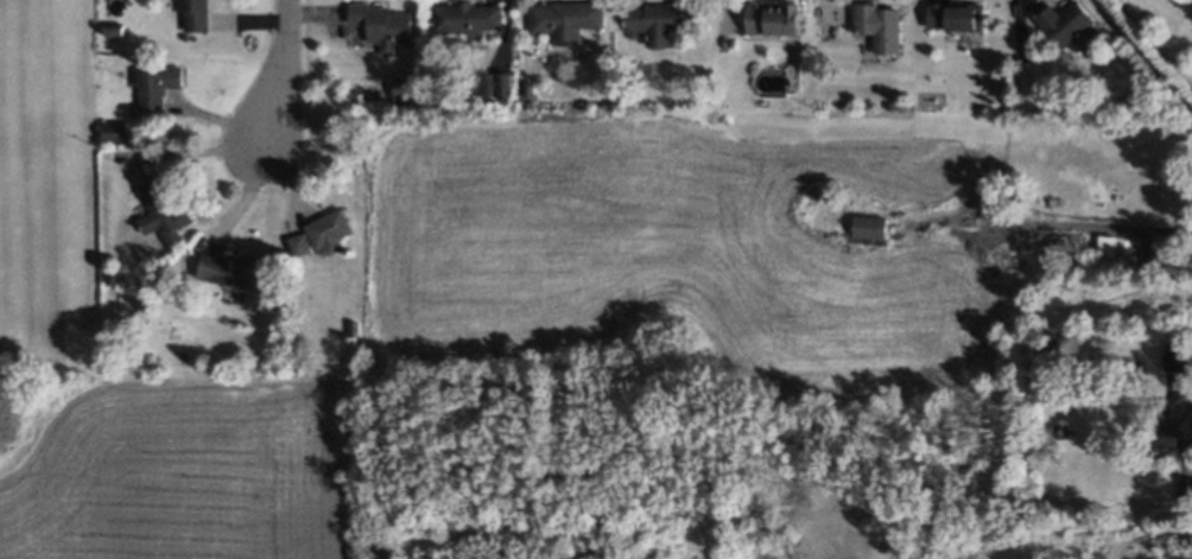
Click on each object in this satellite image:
building: (658, 11)
building: (189, 12)
building: (767, 13)
building: (458, 14)
building: (373, 20)
building: (559, 20)
building: (874, 20)
building: (952, 20)
building: (107, 24)
building: (1060, 30)
road: (285, 69)
building: (1027, 74)
building: (151, 83)
building: (481, 88)
building: (499, 89)
building: (399, 90)
building: (522, 90)
building: (886, 106)
building: (107, 126)
road: (248, 196)
building: (153, 209)
building: (866, 229)
building: (323, 235)
building: (1029, 236)
building: (1110, 246)
building: (293, 248)
building: (222, 267)
building: (103, 280)
building: (347, 324)
building: (1169, 357)
building: (1054, 425)
road: (1172, 425)
building: (1191, 428)
building: (1181, 483)

